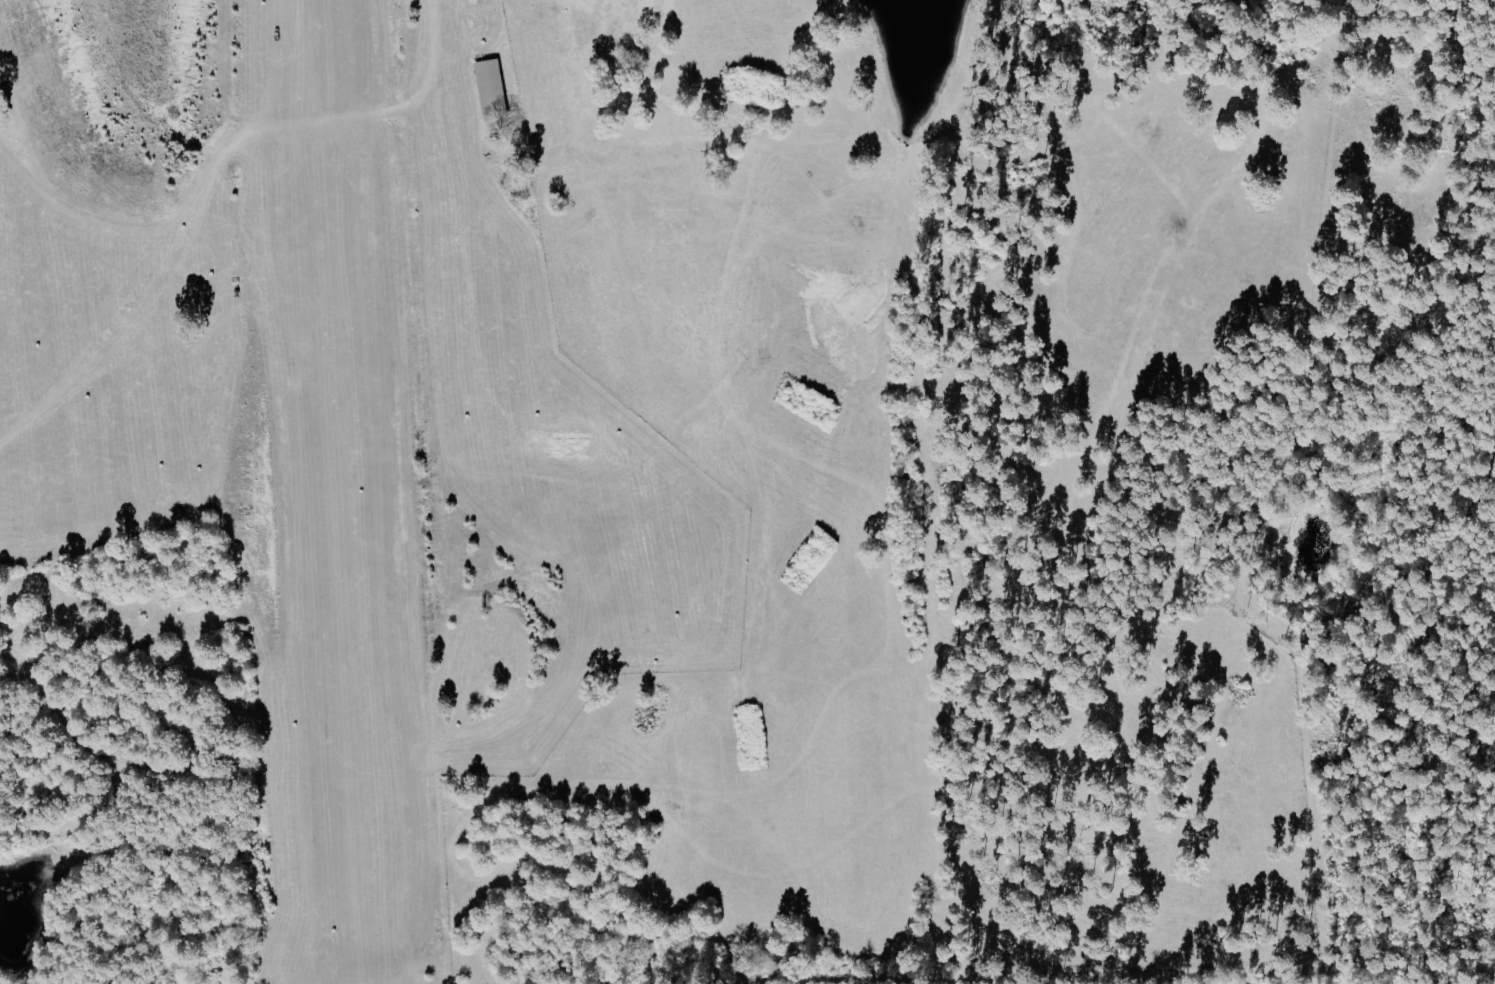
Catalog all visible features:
building: (490, 88)
road: (180, 224)

